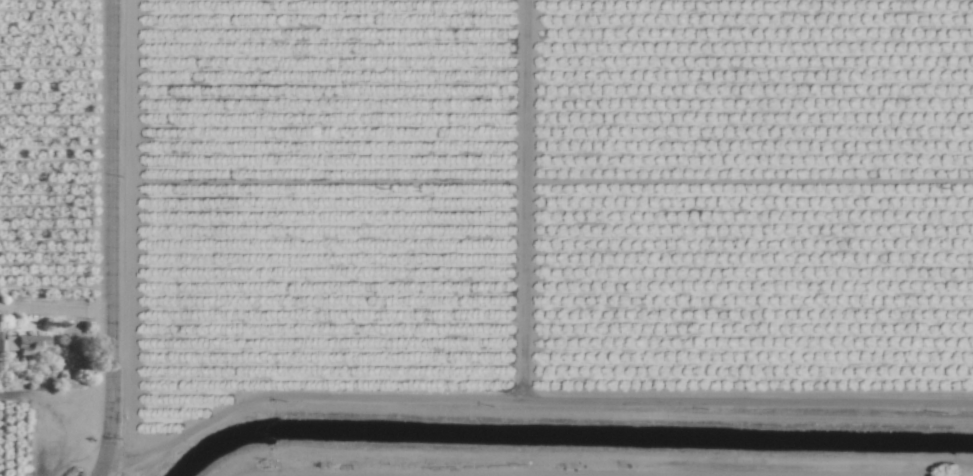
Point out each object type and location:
road: (114, 238)
road: (57, 309)
building: (24, 346)
road: (599, 463)
road: (929, 472)

